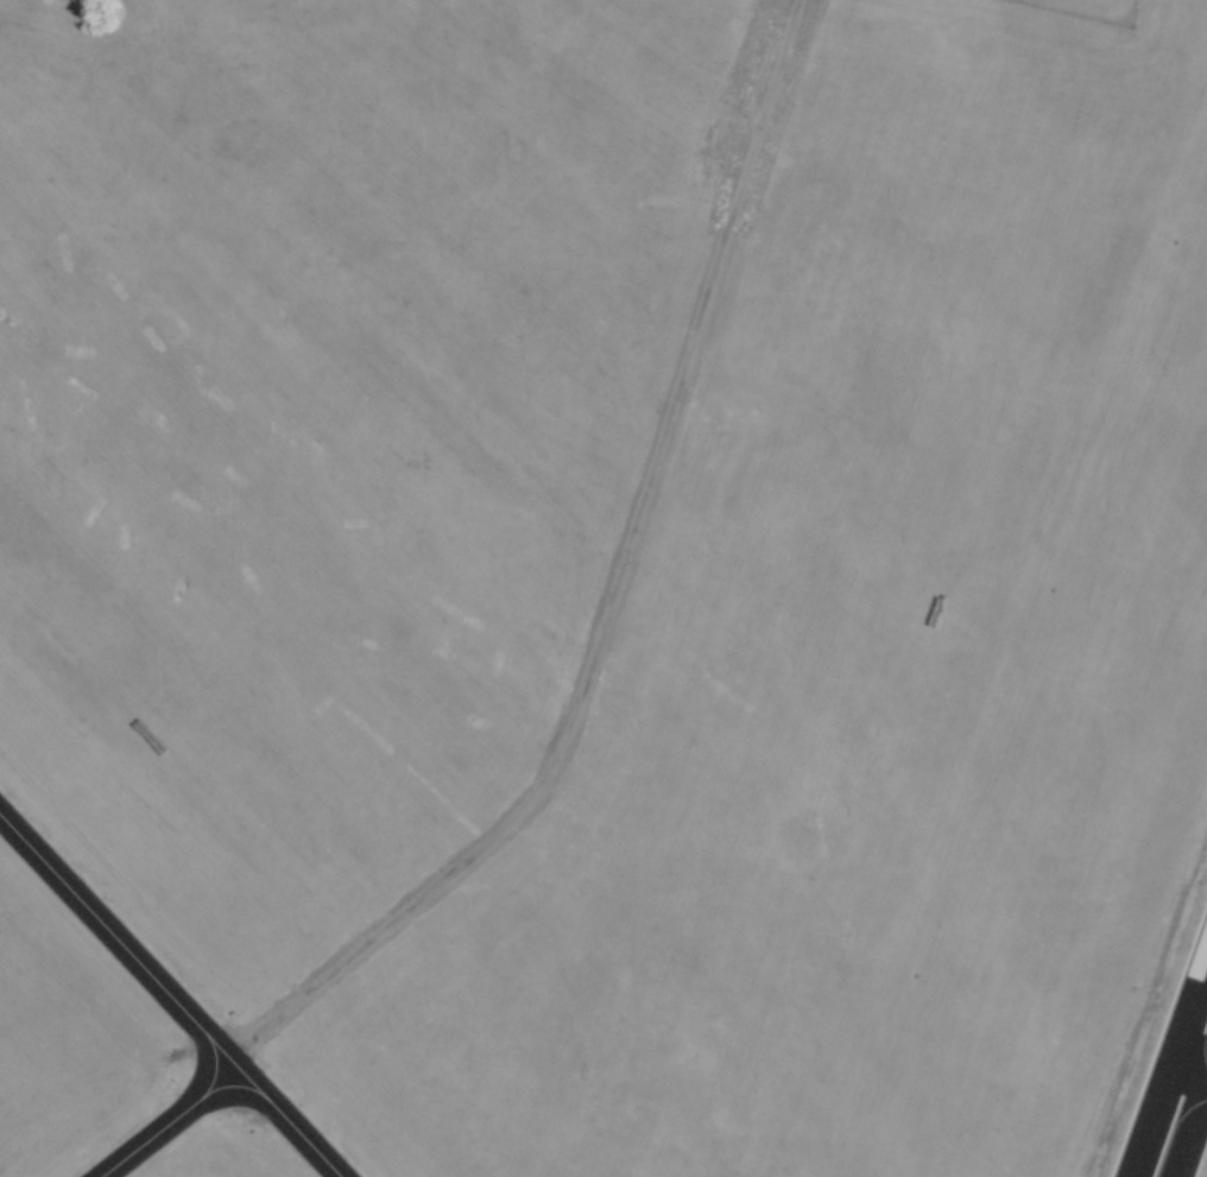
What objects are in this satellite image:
airport: (603, 588)
road: (607, 590)
airport taxiway: (169, 996)
airport taxiway: (204, 1062)
airport taxiway: (1194, 1086)
airport runway: (1176, 1091)
airport taxiway: (173, 1113)

